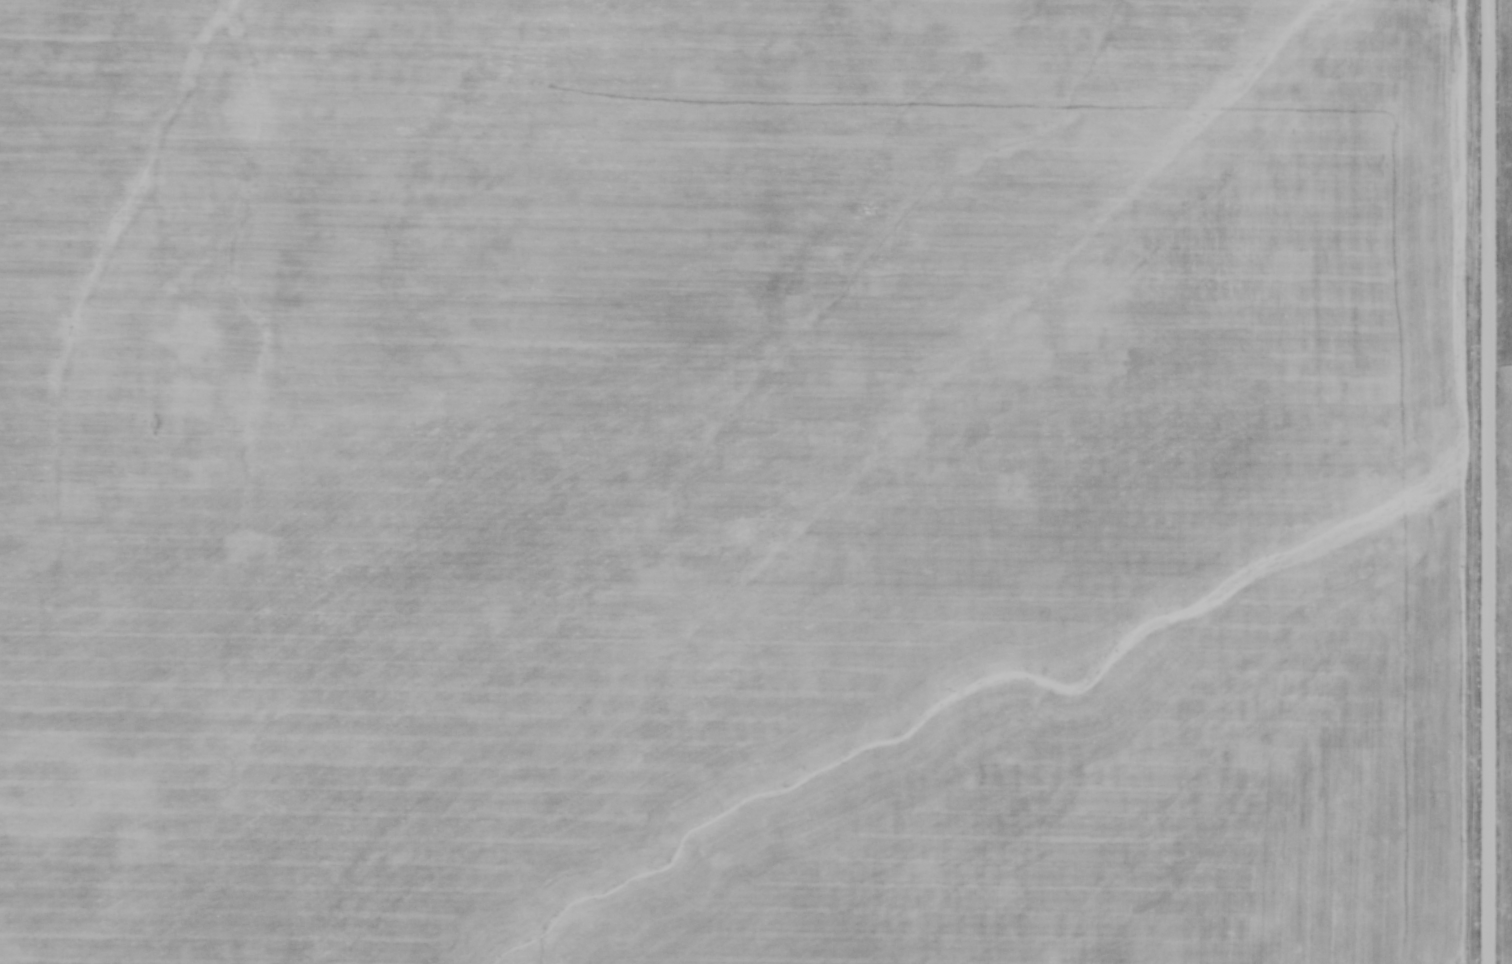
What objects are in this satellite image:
road: (1485, 481)

